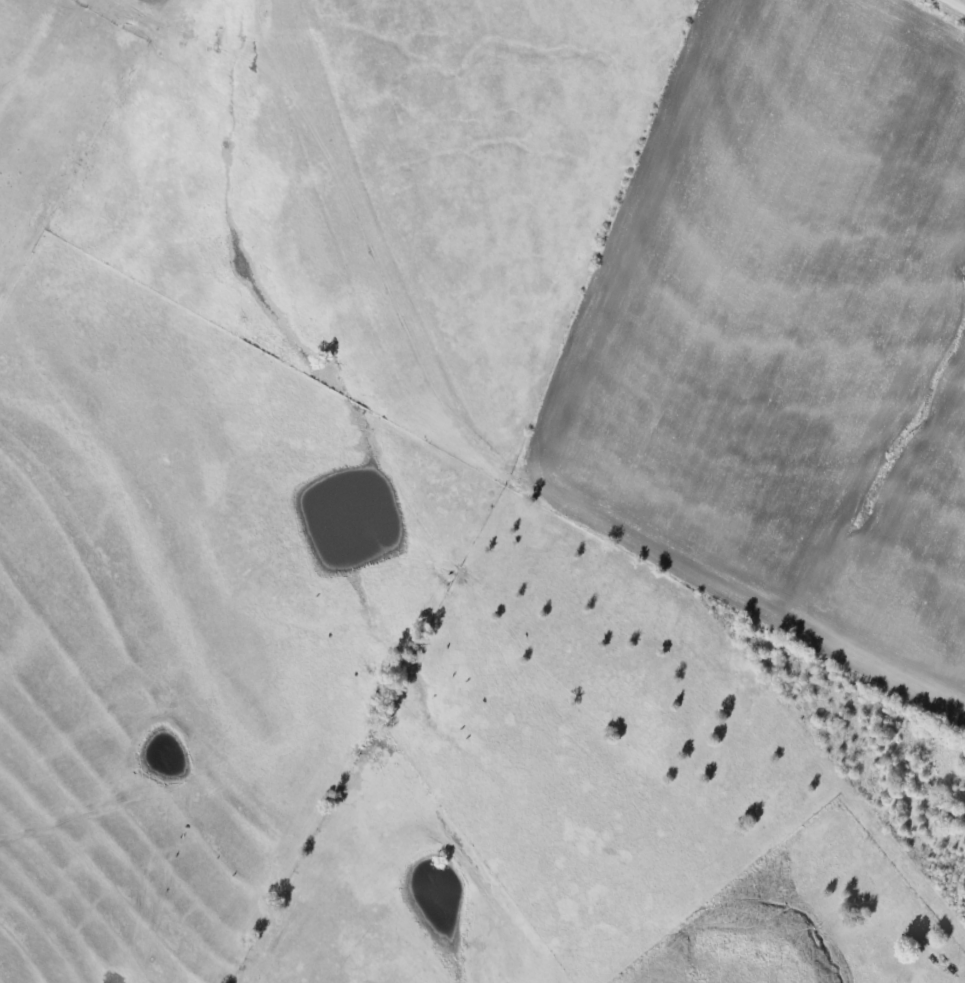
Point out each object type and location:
crop: (52, 109)

